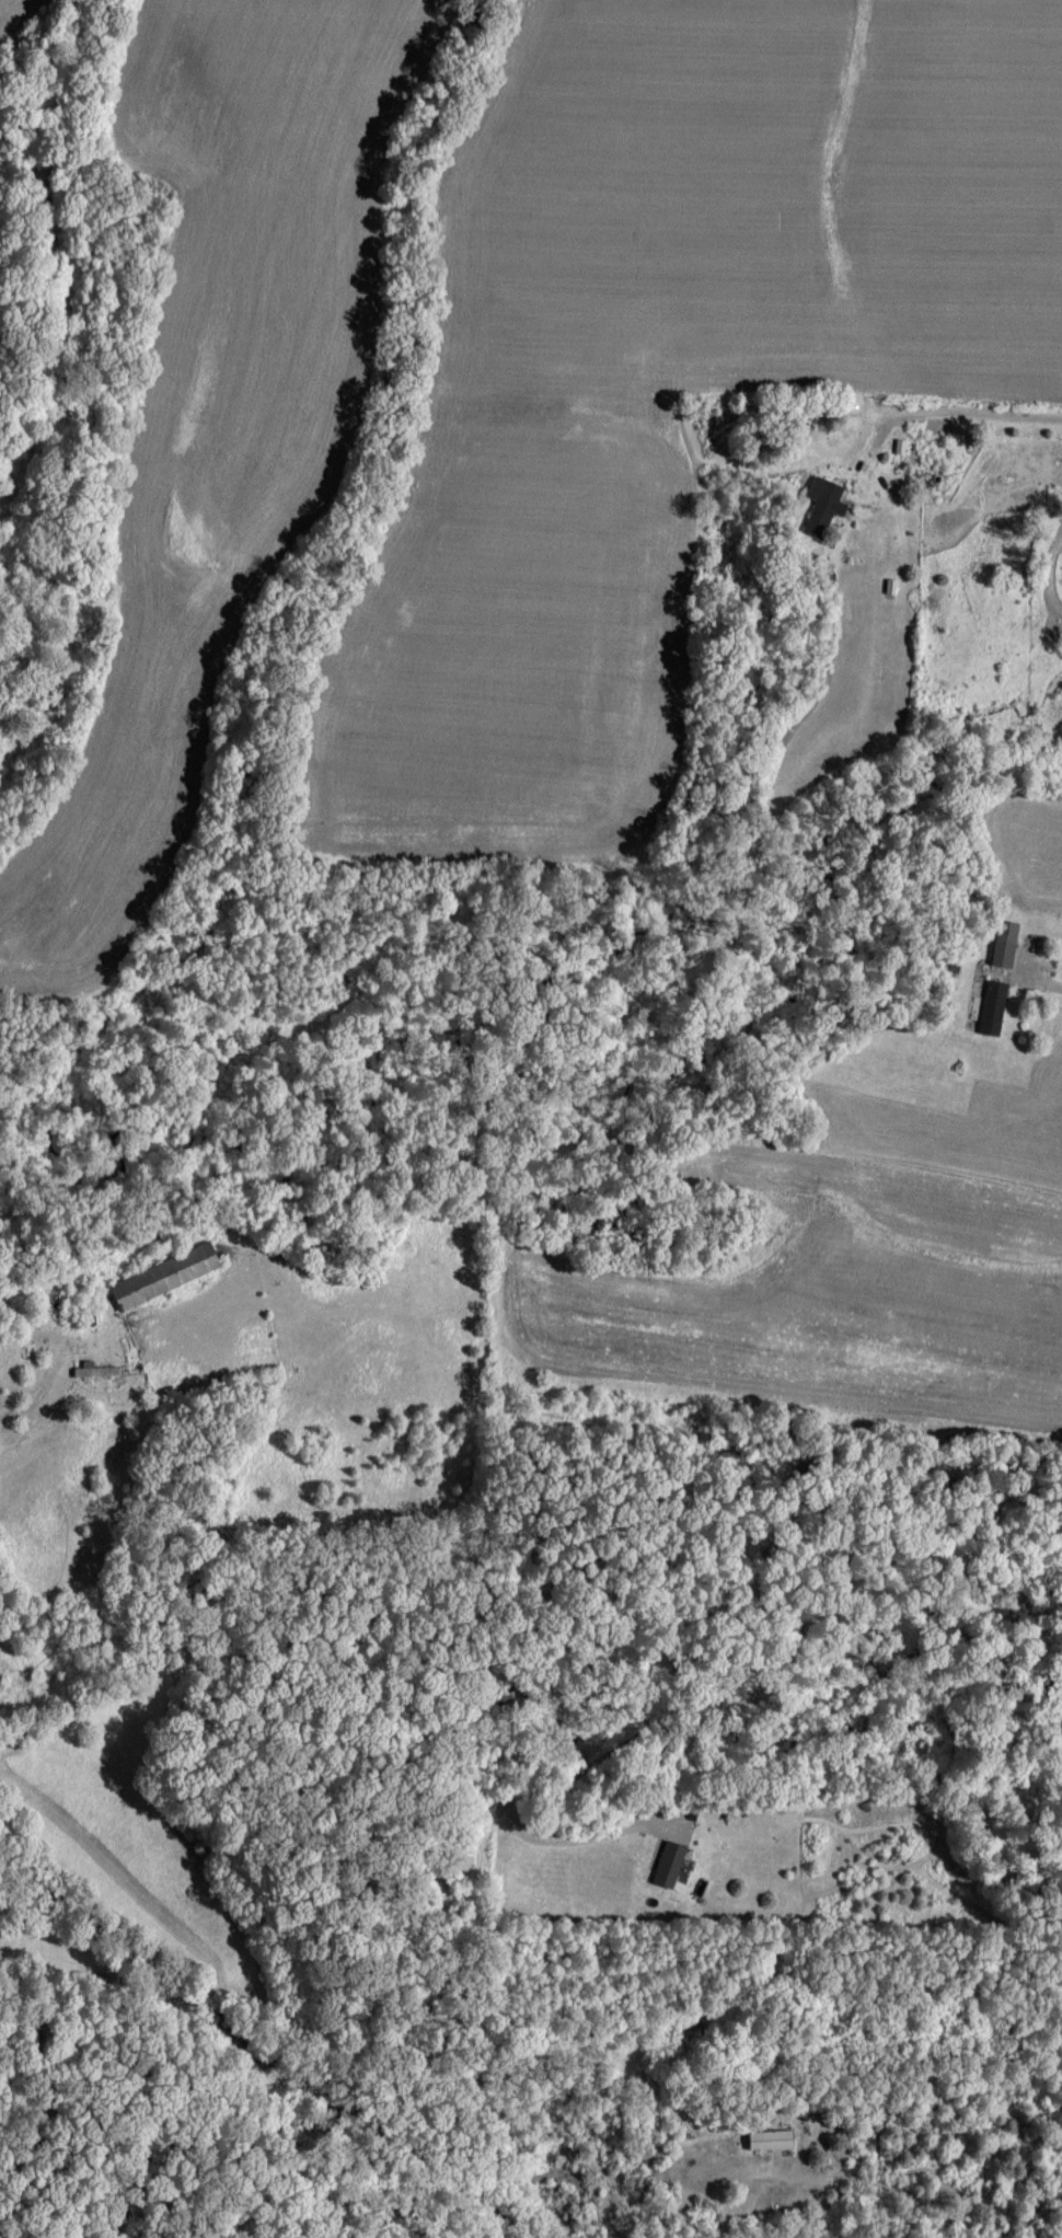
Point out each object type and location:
road: (942, 409)
building: (823, 504)
building: (1005, 942)
road: (1041, 980)
building: (993, 1005)
building: (165, 1273)
building: (95, 1369)
road: (39, 1389)
road: (730, 1662)
building: (669, 1862)
road: (53, 2101)
building: (770, 2137)
road: (893, 2187)

